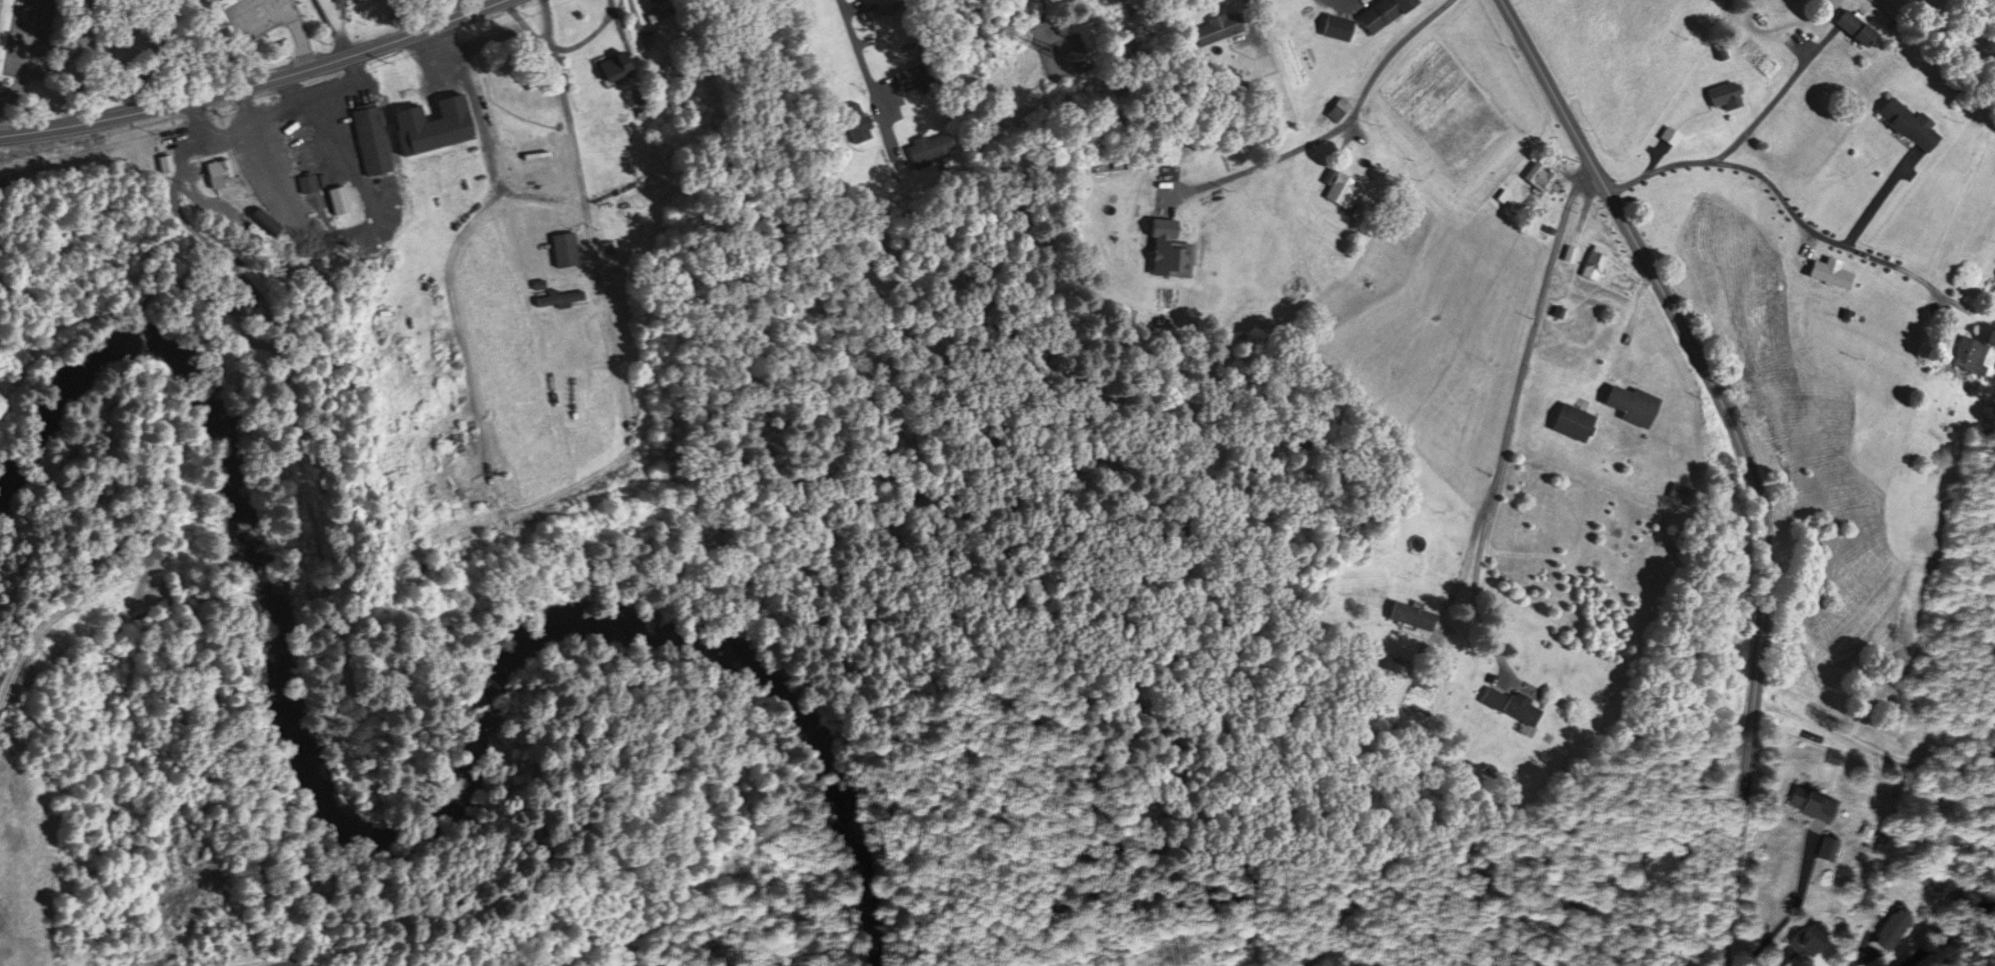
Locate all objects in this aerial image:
building: (198, 0)
building: (669, 6)
building: (883, 8)
building: (1385, 11)
building: (1857, 18)
building: (1342, 25)
building: (1850, 25)
building: (1218, 26)
road: (333, 29)
road: (590, 33)
road: (25, 56)
building: (618, 56)
road: (865, 68)
building: (914, 72)
road: (257, 83)
building: (1729, 89)
building: (1337, 106)
building: (1913, 114)
building: (437, 117)
road: (1756, 117)
building: (859, 118)
road: (1334, 129)
building: (376, 135)
road: (571, 138)
building: (933, 143)
building: (268, 156)
building: (168, 158)
building: (162, 161)
building: (221, 169)
building: (1543, 169)
building: (305, 181)
building: (1340, 182)
building: (343, 194)
road: (1878, 195)
road: (540, 196)
road: (178, 198)
road: (1796, 213)
building: (269, 218)
building: (569, 241)
building: (1173, 241)
road: (451, 247)
building: (1597, 257)
building: (1834, 267)
building: (564, 292)
building: (247, 304)
building: (1974, 333)
building: (1967, 353)
road: (1521, 370)
building: (1639, 396)
building: (1576, 412)
road: (1746, 455)
road: (64, 600)
building: (1416, 608)
building: (1519, 692)
building: (1519, 707)
building: (1814, 799)
river: (403, 835)
building: (1830, 840)
building: (1649, 852)
building: (1893, 929)
building: (1812, 931)
river: (1958, 937)

